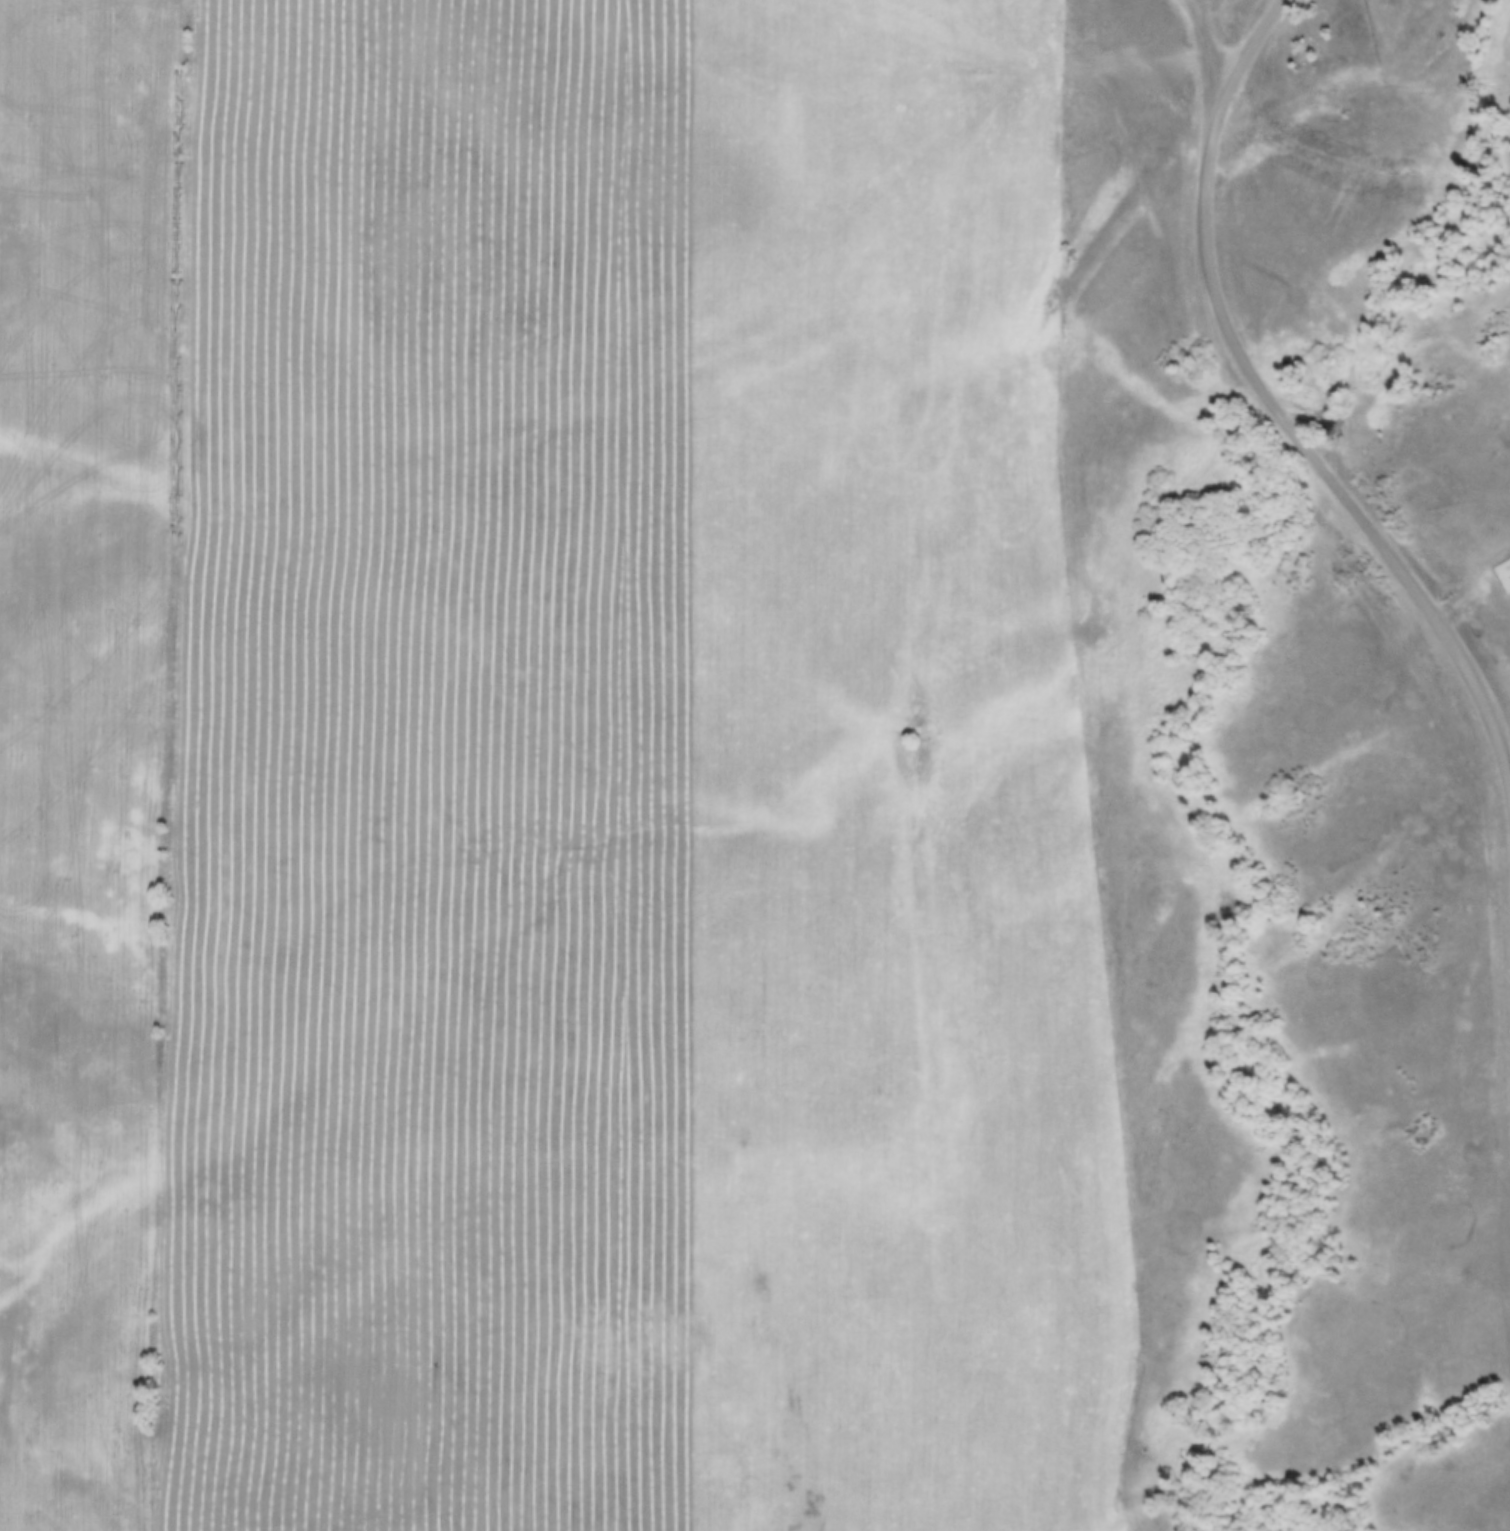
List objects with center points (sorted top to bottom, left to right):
road: (1210, 58)
road: (1273, 407)

